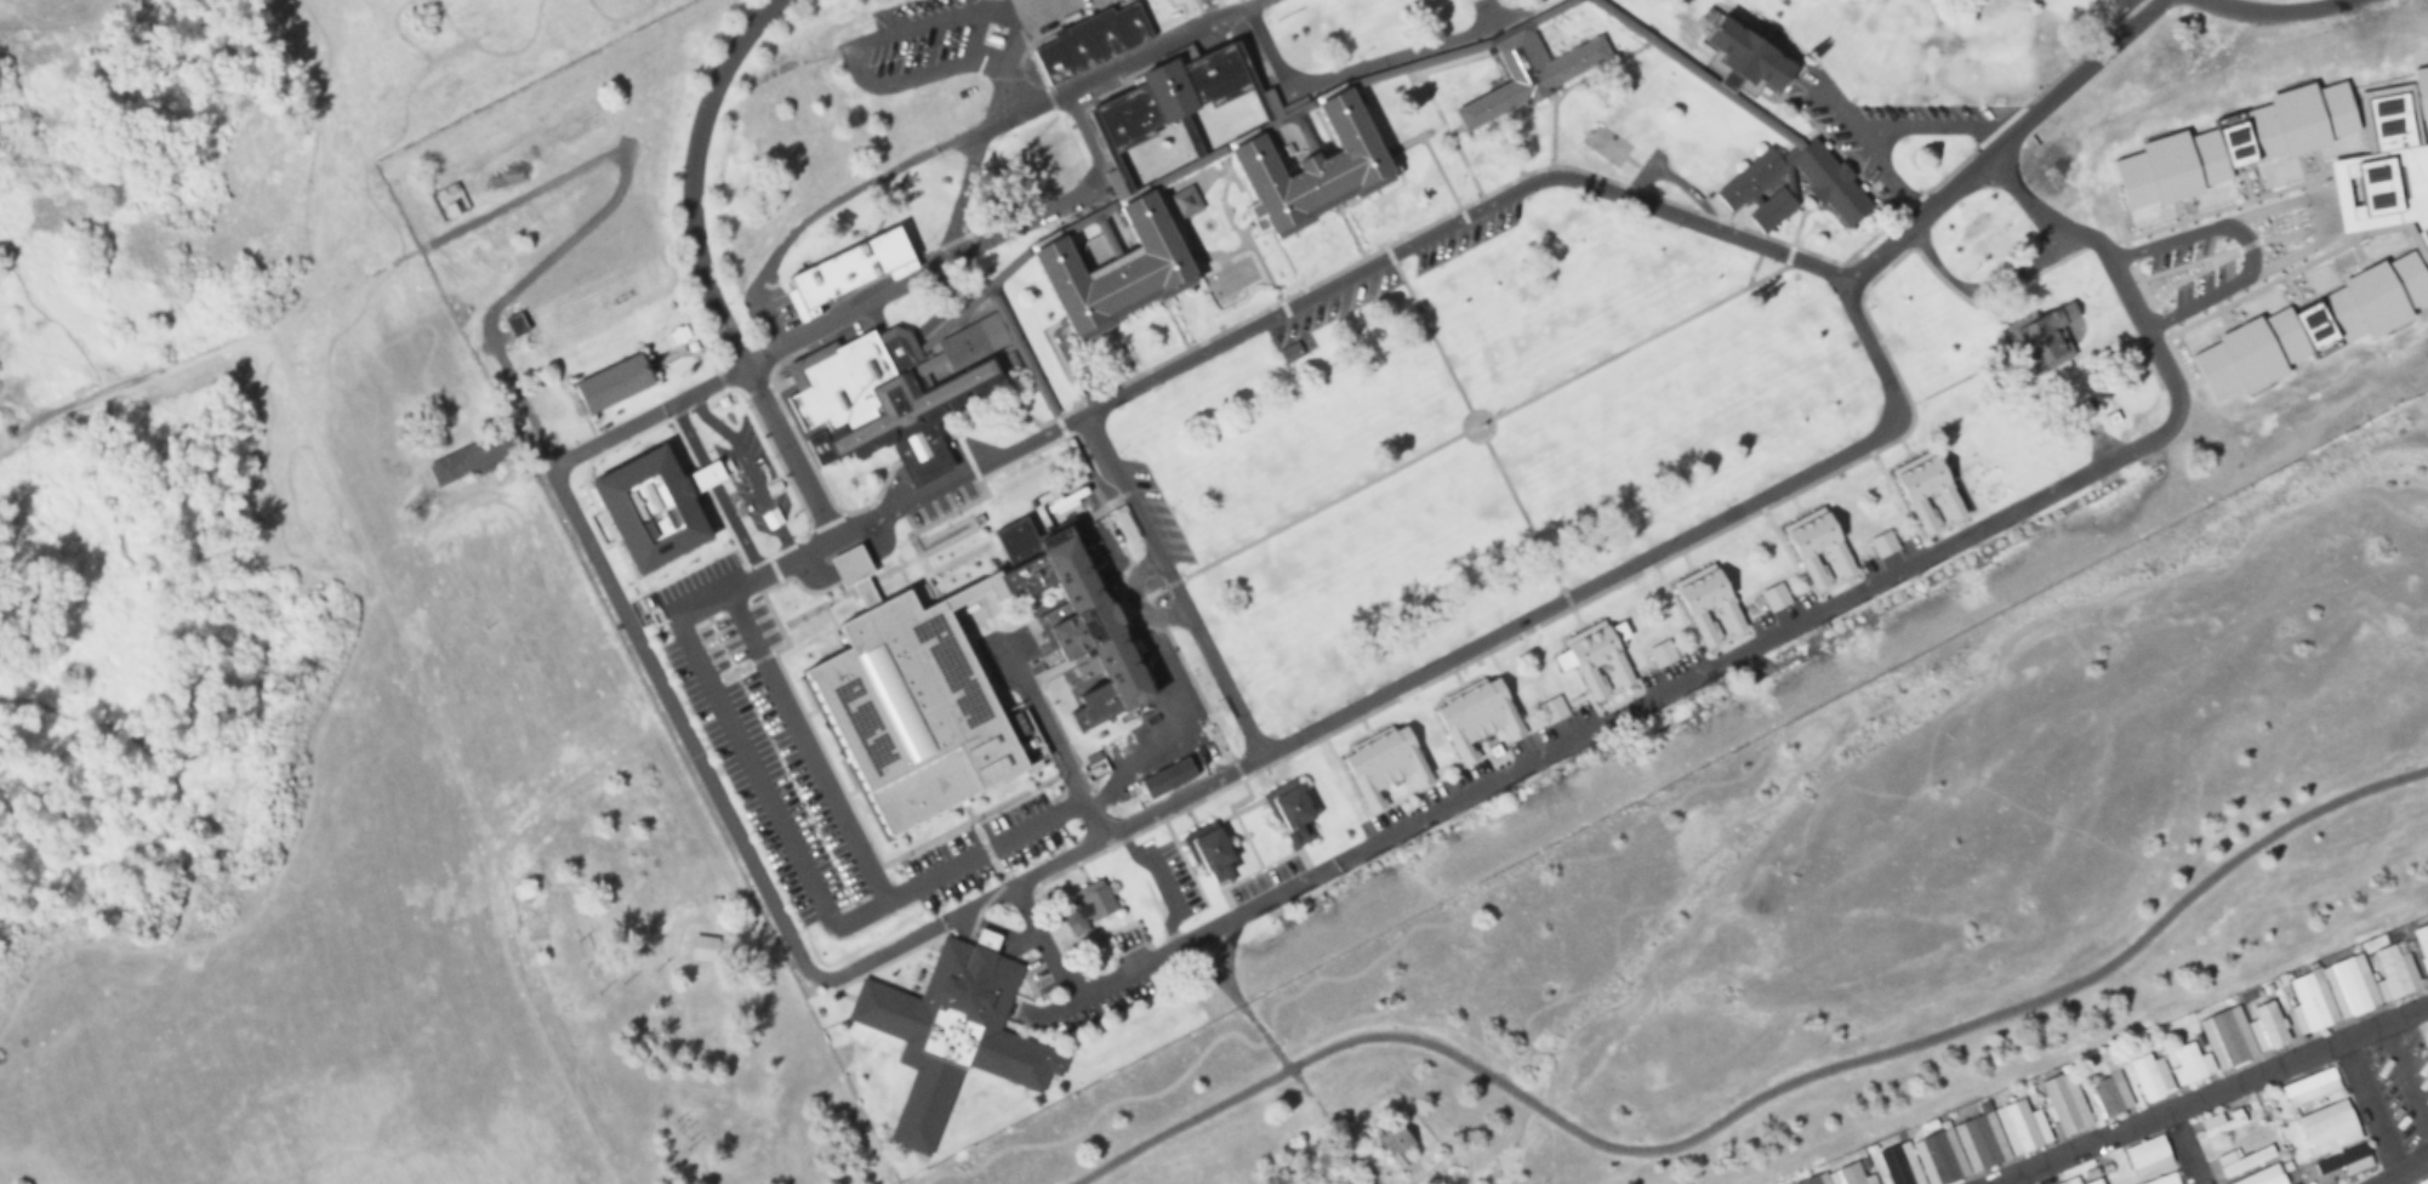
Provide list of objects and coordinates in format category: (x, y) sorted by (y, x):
road: (908, 25)
building: (1089, 42)
building: (1746, 57)
road: (1350, 73)
road: (1698, 73)
building: (1527, 74)
road: (2064, 81)
building: (1170, 93)
road: (1261, 104)
road: (1304, 131)
road: (1190, 136)
road: (984, 138)
road: (1227, 146)
building: (1313, 170)
road: (877, 180)
building: (1831, 182)
building: (1944, 197)
road: (2263, 201)
road: (1059, 206)
road: (1693, 223)
road: (1106, 235)
water tower: (2418, 238)
building: (1117, 271)
building: (849, 272)
building: (2102, 304)
road: (53, 311)
road: (261, 324)
building: (515, 324)
building: (2047, 337)
building: (1289, 352)
building: (620, 380)
building: (891, 381)
road: (47, 410)
road: (1059, 425)
building: (0, 434)
building: (2205, 443)
building: (919, 451)
building: (467, 459)
road: (1022, 472)
building: (1931, 491)
road: (805, 508)
building: (1885, 545)
building: (1820, 547)
road: (1646, 559)
road: (131, 573)
building: (1710, 603)
building: (1078, 620)
building: (1662, 654)
building: (1597, 658)
park: (327, 664)
road: (1700, 673)
building: (1551, 711)
building: (911, 716)
building: (1477, 722)
road: (444, 753)
building: (1383, 764)
road: (165, 773)
road: (1230, 773)
parking lot: (814, 775)
building: (1289, 810)
building: (1208, 850)
park: (1873, 890)
road: (257, 892)
building: (1087, 905)
building: (1115, 943)
building: (2422, 945)
building: (701, 949)
road: (1224, 951)
building: (2352, 987)
building: (2267, 1026)
building: (2225, 1038)
road: (1276, 1055)
building: (2190, 1064)
building: (2150, 1077)
building: (2310, 1087)
building: (2110, 1093)
road: (2211, 1097)
road: (1755, 1098)
building: (2065, 1104)
road: (2369, 1105)
building: (2222, 1121)
building: (2327, 1127)
building: (1395, 1144)
building: (1967, 1146)
road: (1548, 1148)
road: (2182, 1150)
building: (2148, 1156)
building: (2242, 1160)
building: (2342, 1163)
road: (2399, 1167)
building: (1845, 1176)
building: (2262, 1177)
building: (1329, 1178)
road: (2013, 1179)
building: (2093, 1179)
building: (2422, 1182)

